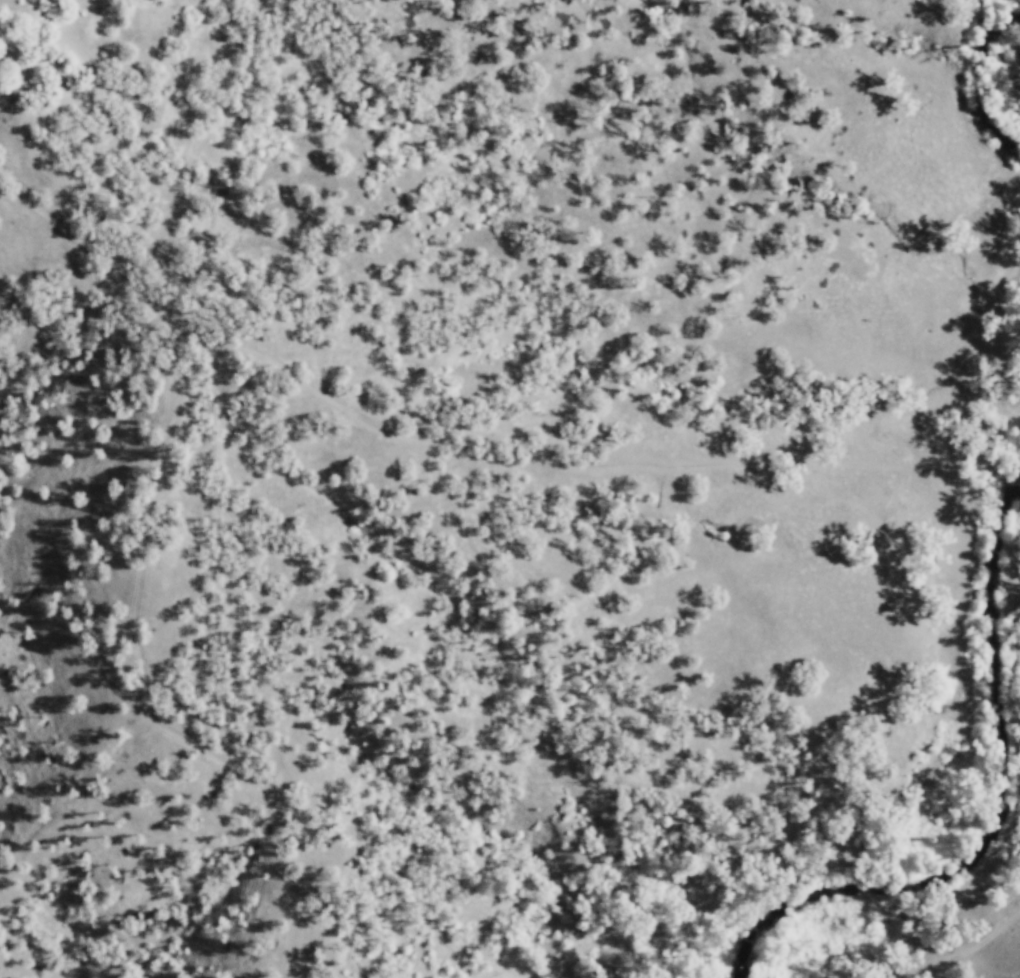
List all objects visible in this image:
road: (965, 951)

